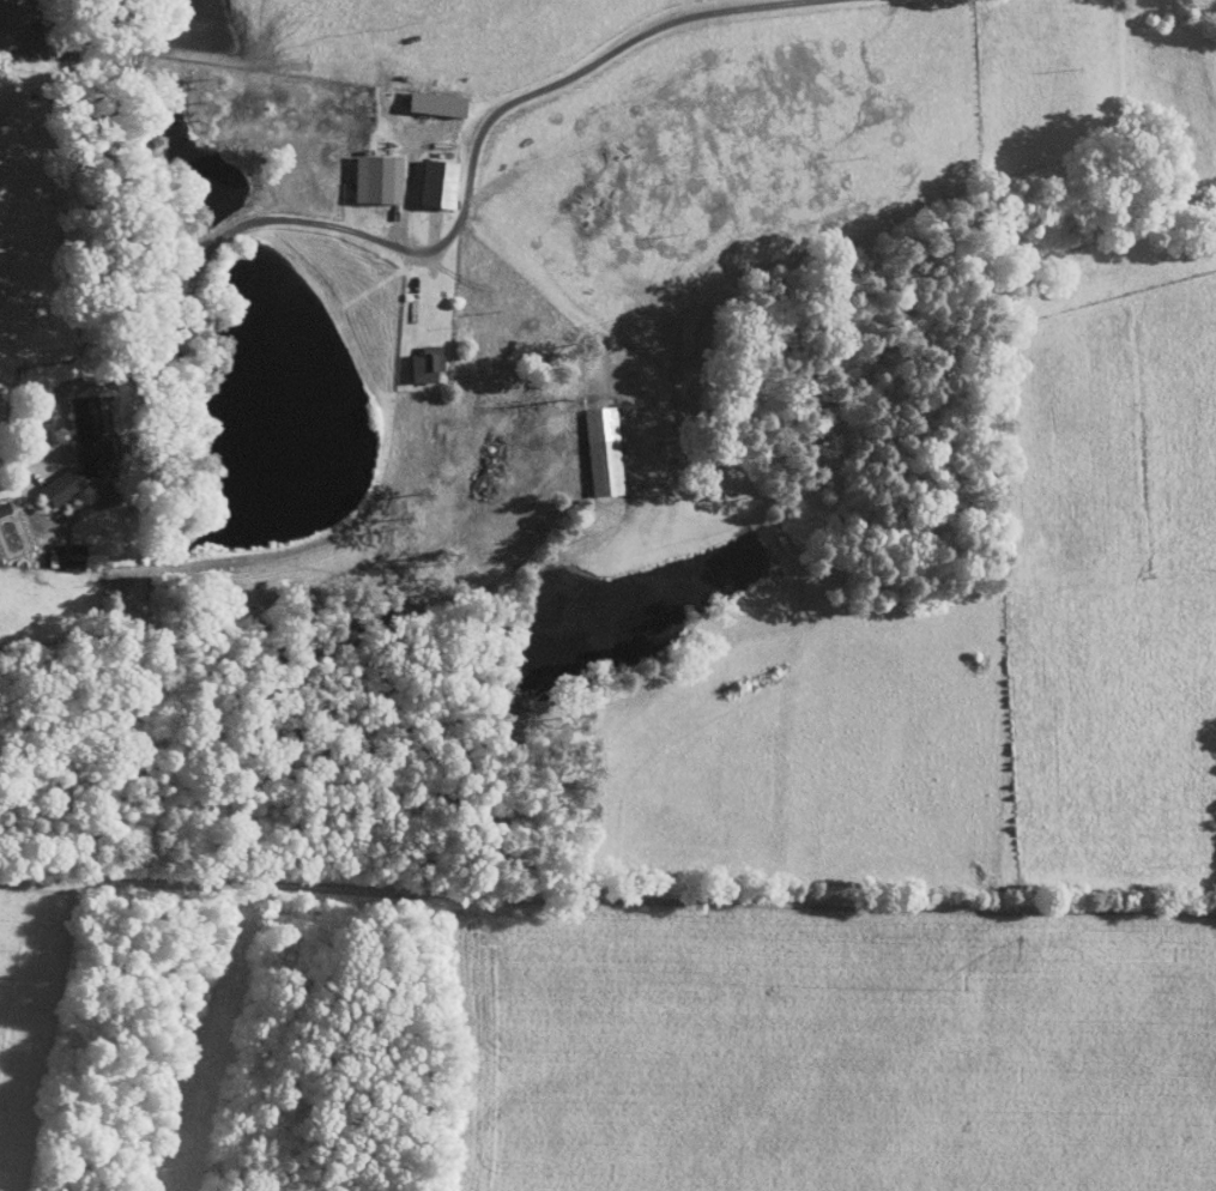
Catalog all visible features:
building: (434, 103)
building: (376, 179)
road: (410, 182)
building: (436, 183)
road: (456, 228)
building: (423, 363)
road: (44, 410)
building: (75, 451)
building: (603, 451)
building: (2, 507)
building: (68, 560)

